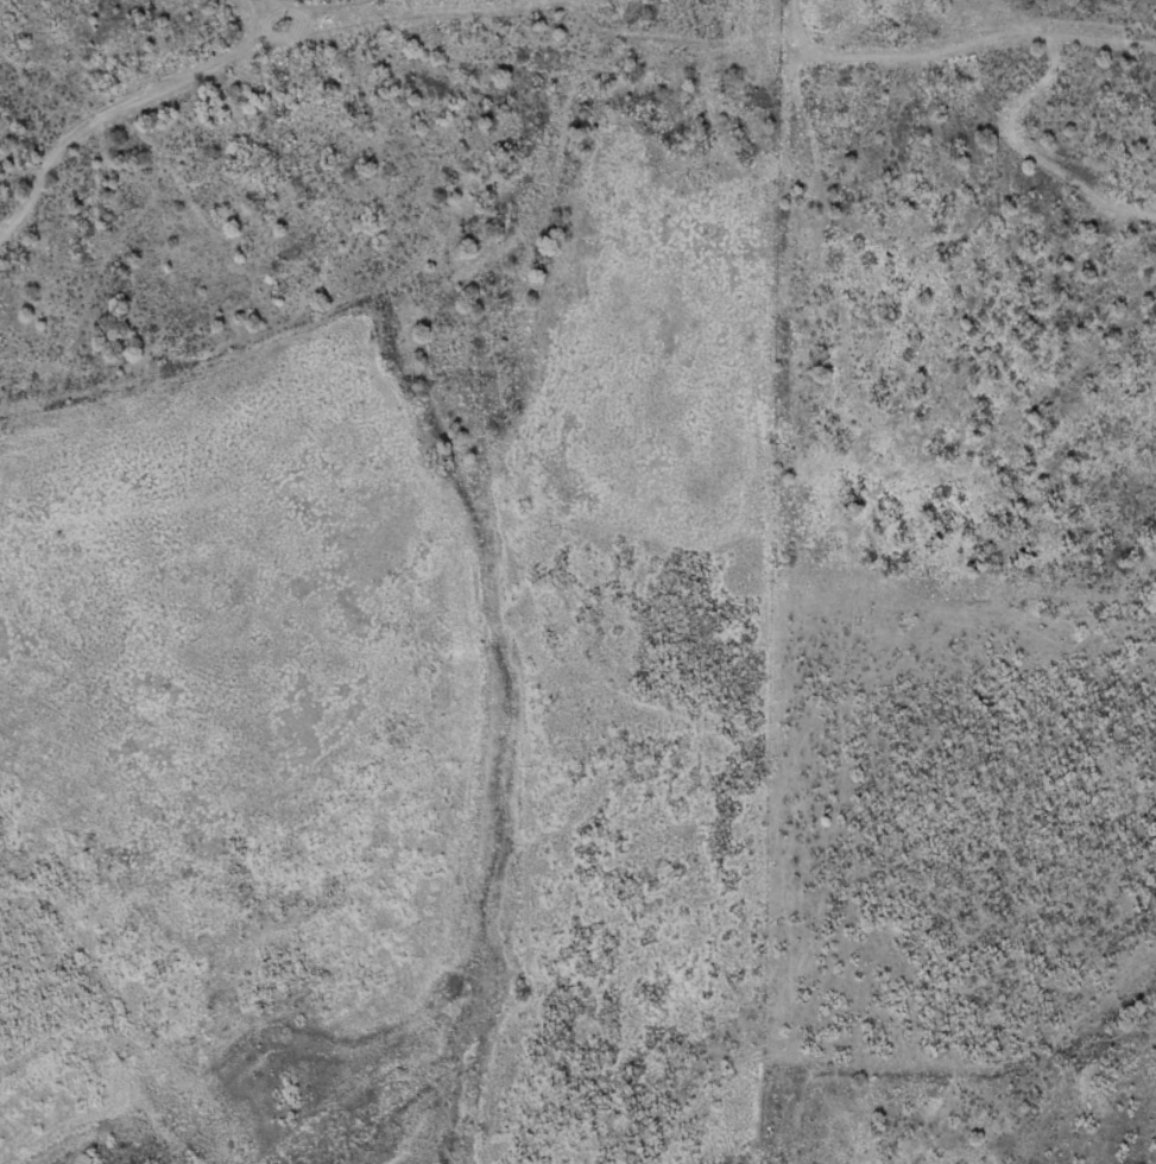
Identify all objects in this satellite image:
road: (252, 4)
road: (124, 99)

